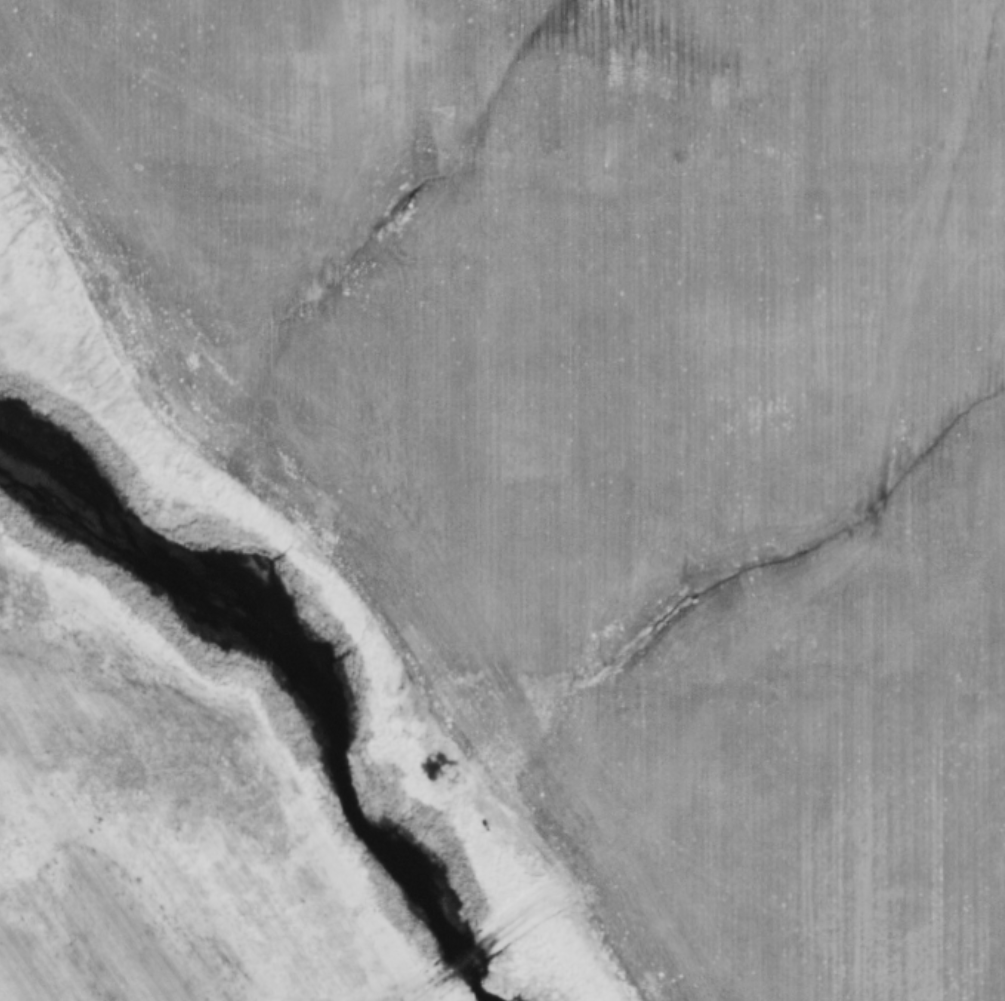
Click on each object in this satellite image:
river: (305, 677)

